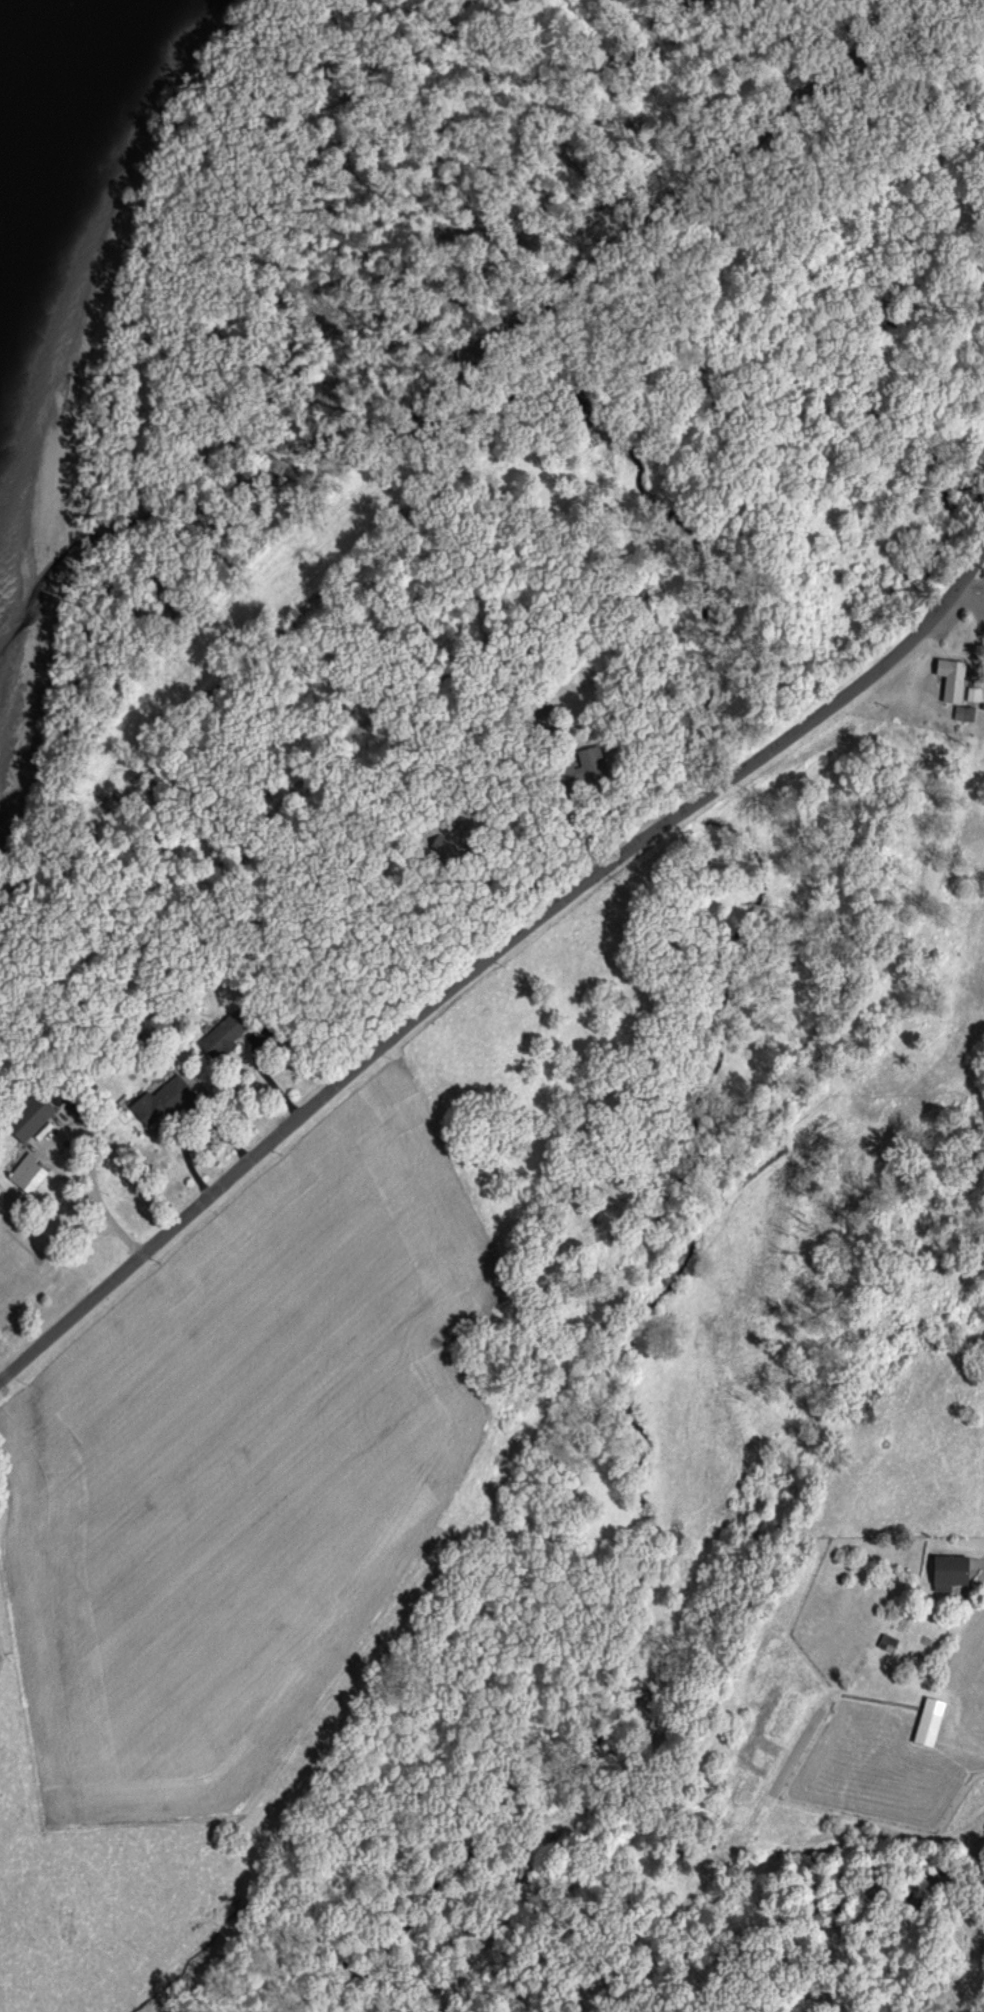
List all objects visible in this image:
river: (21, 115)
building: (953, 681)
building: (975, 697)
building: (581, 769)
road: (487, 944)
building: (223, 1039)
building: (161, 1105)
building: (30, 1120)
building: (28, 1176)
road: (948, 1553)
building: (950, 1575)
building: (889, 1645)
building: (930, 1725)

